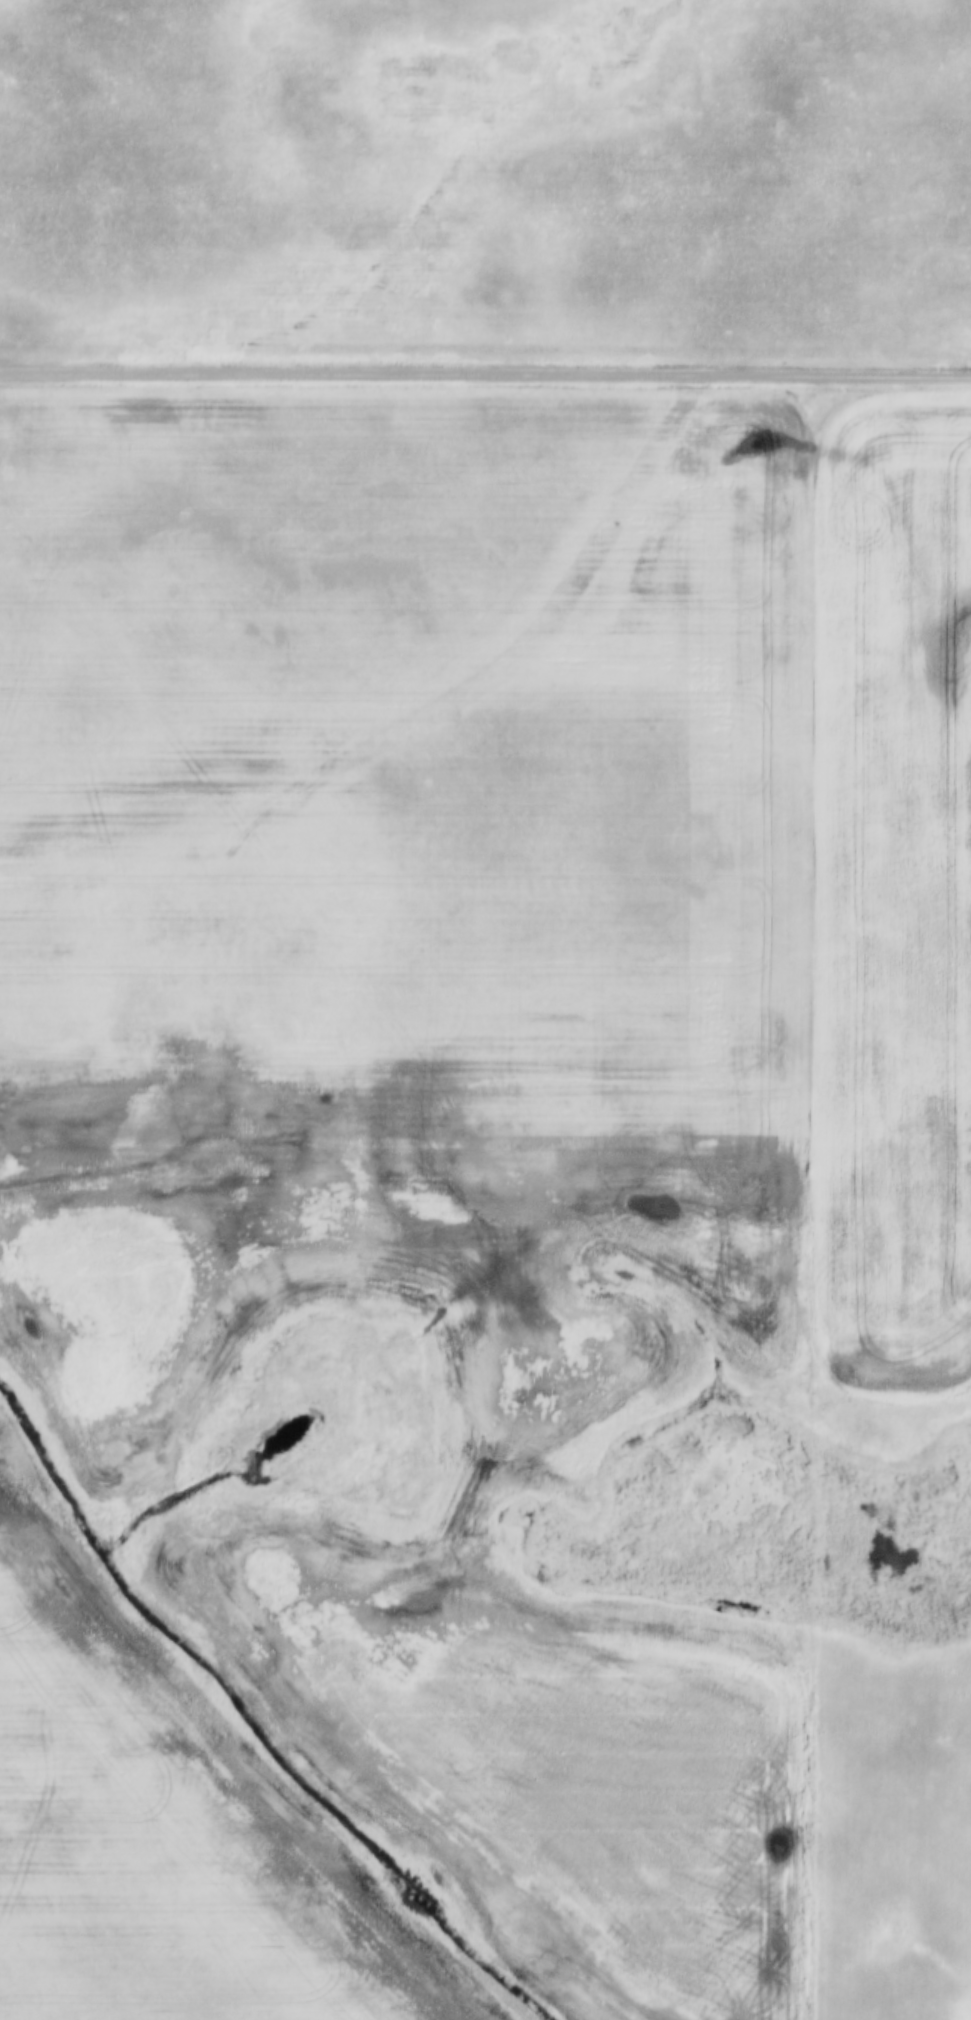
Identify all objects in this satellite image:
road: (485, 378)
building: (301, 942)

